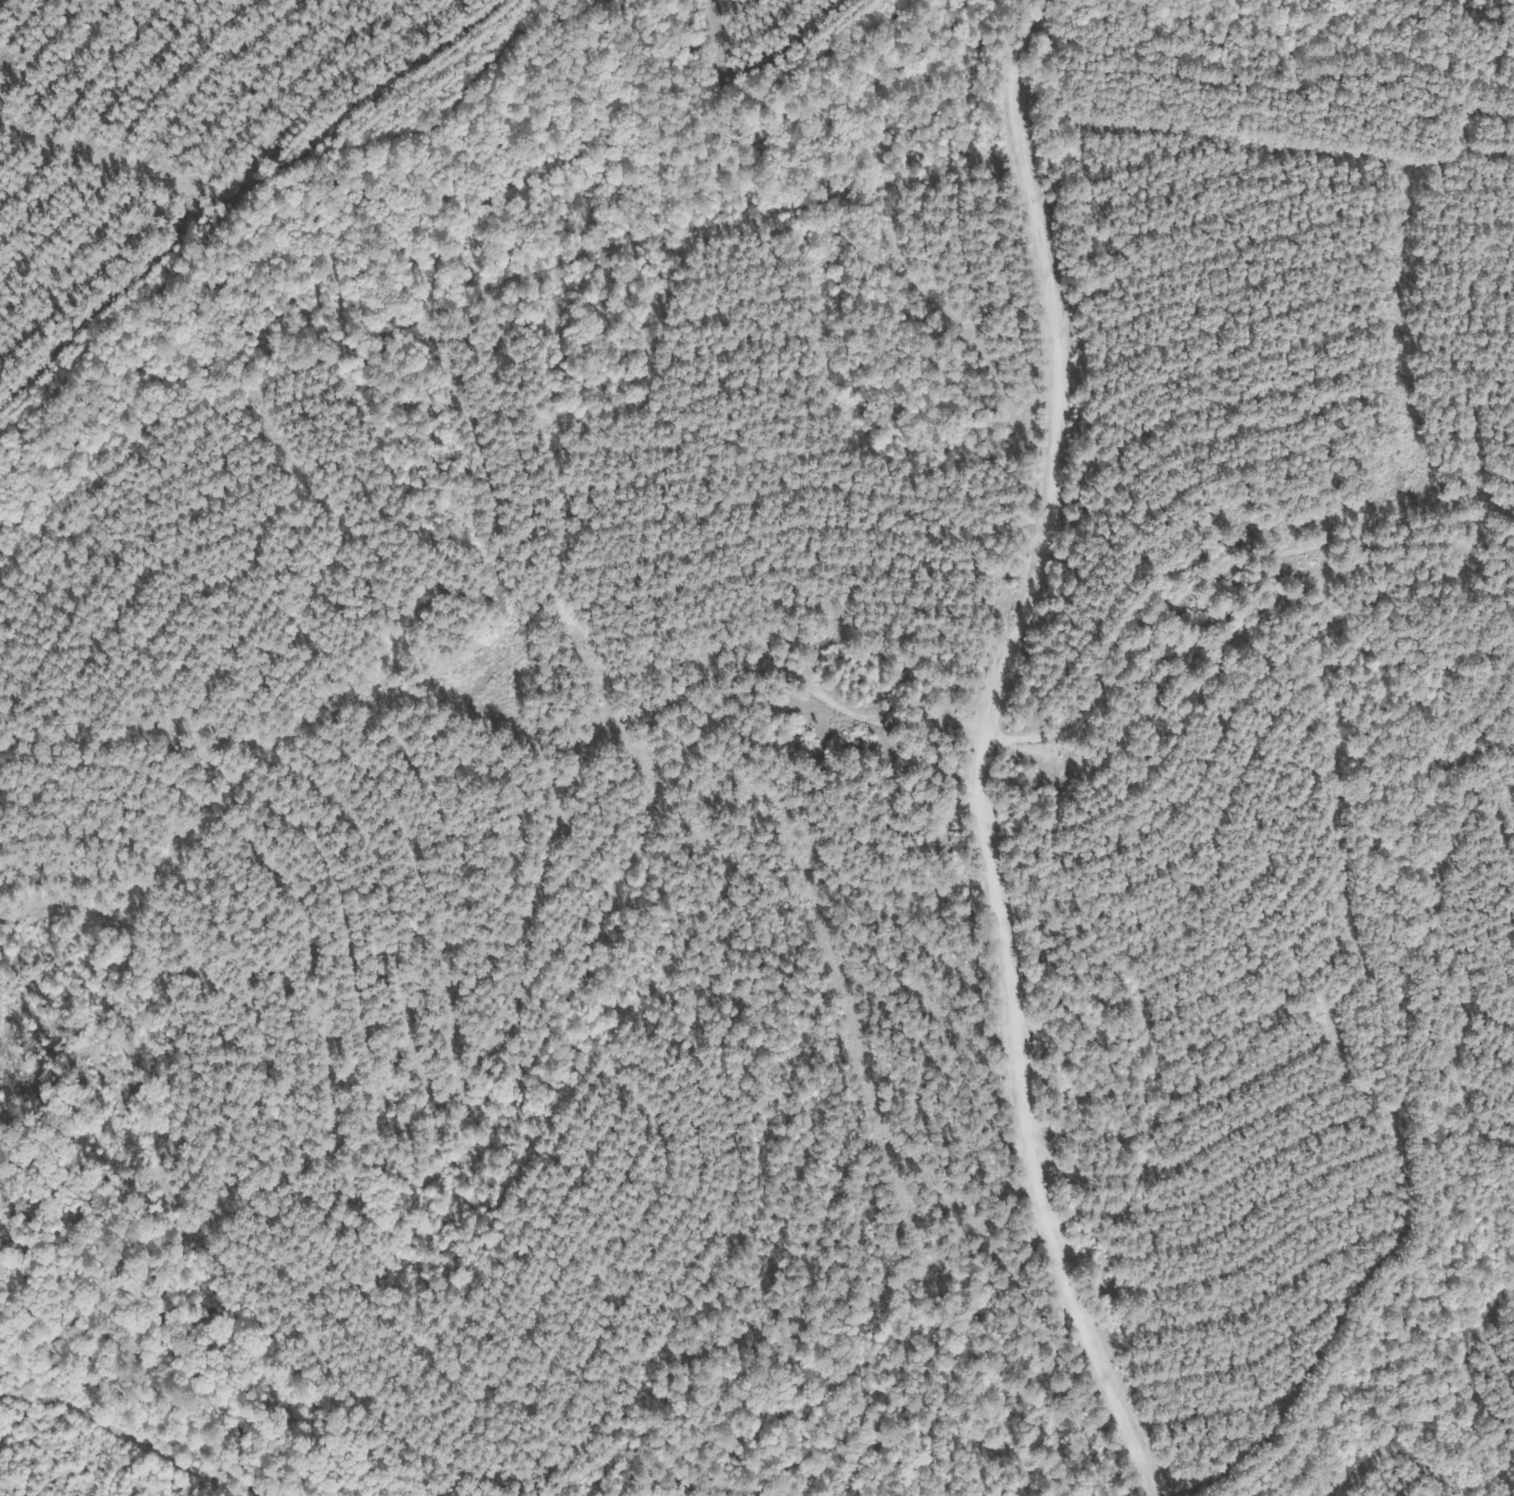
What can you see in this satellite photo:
road: (476, 302)
road: (1247, 582)
road: (998, 755)

